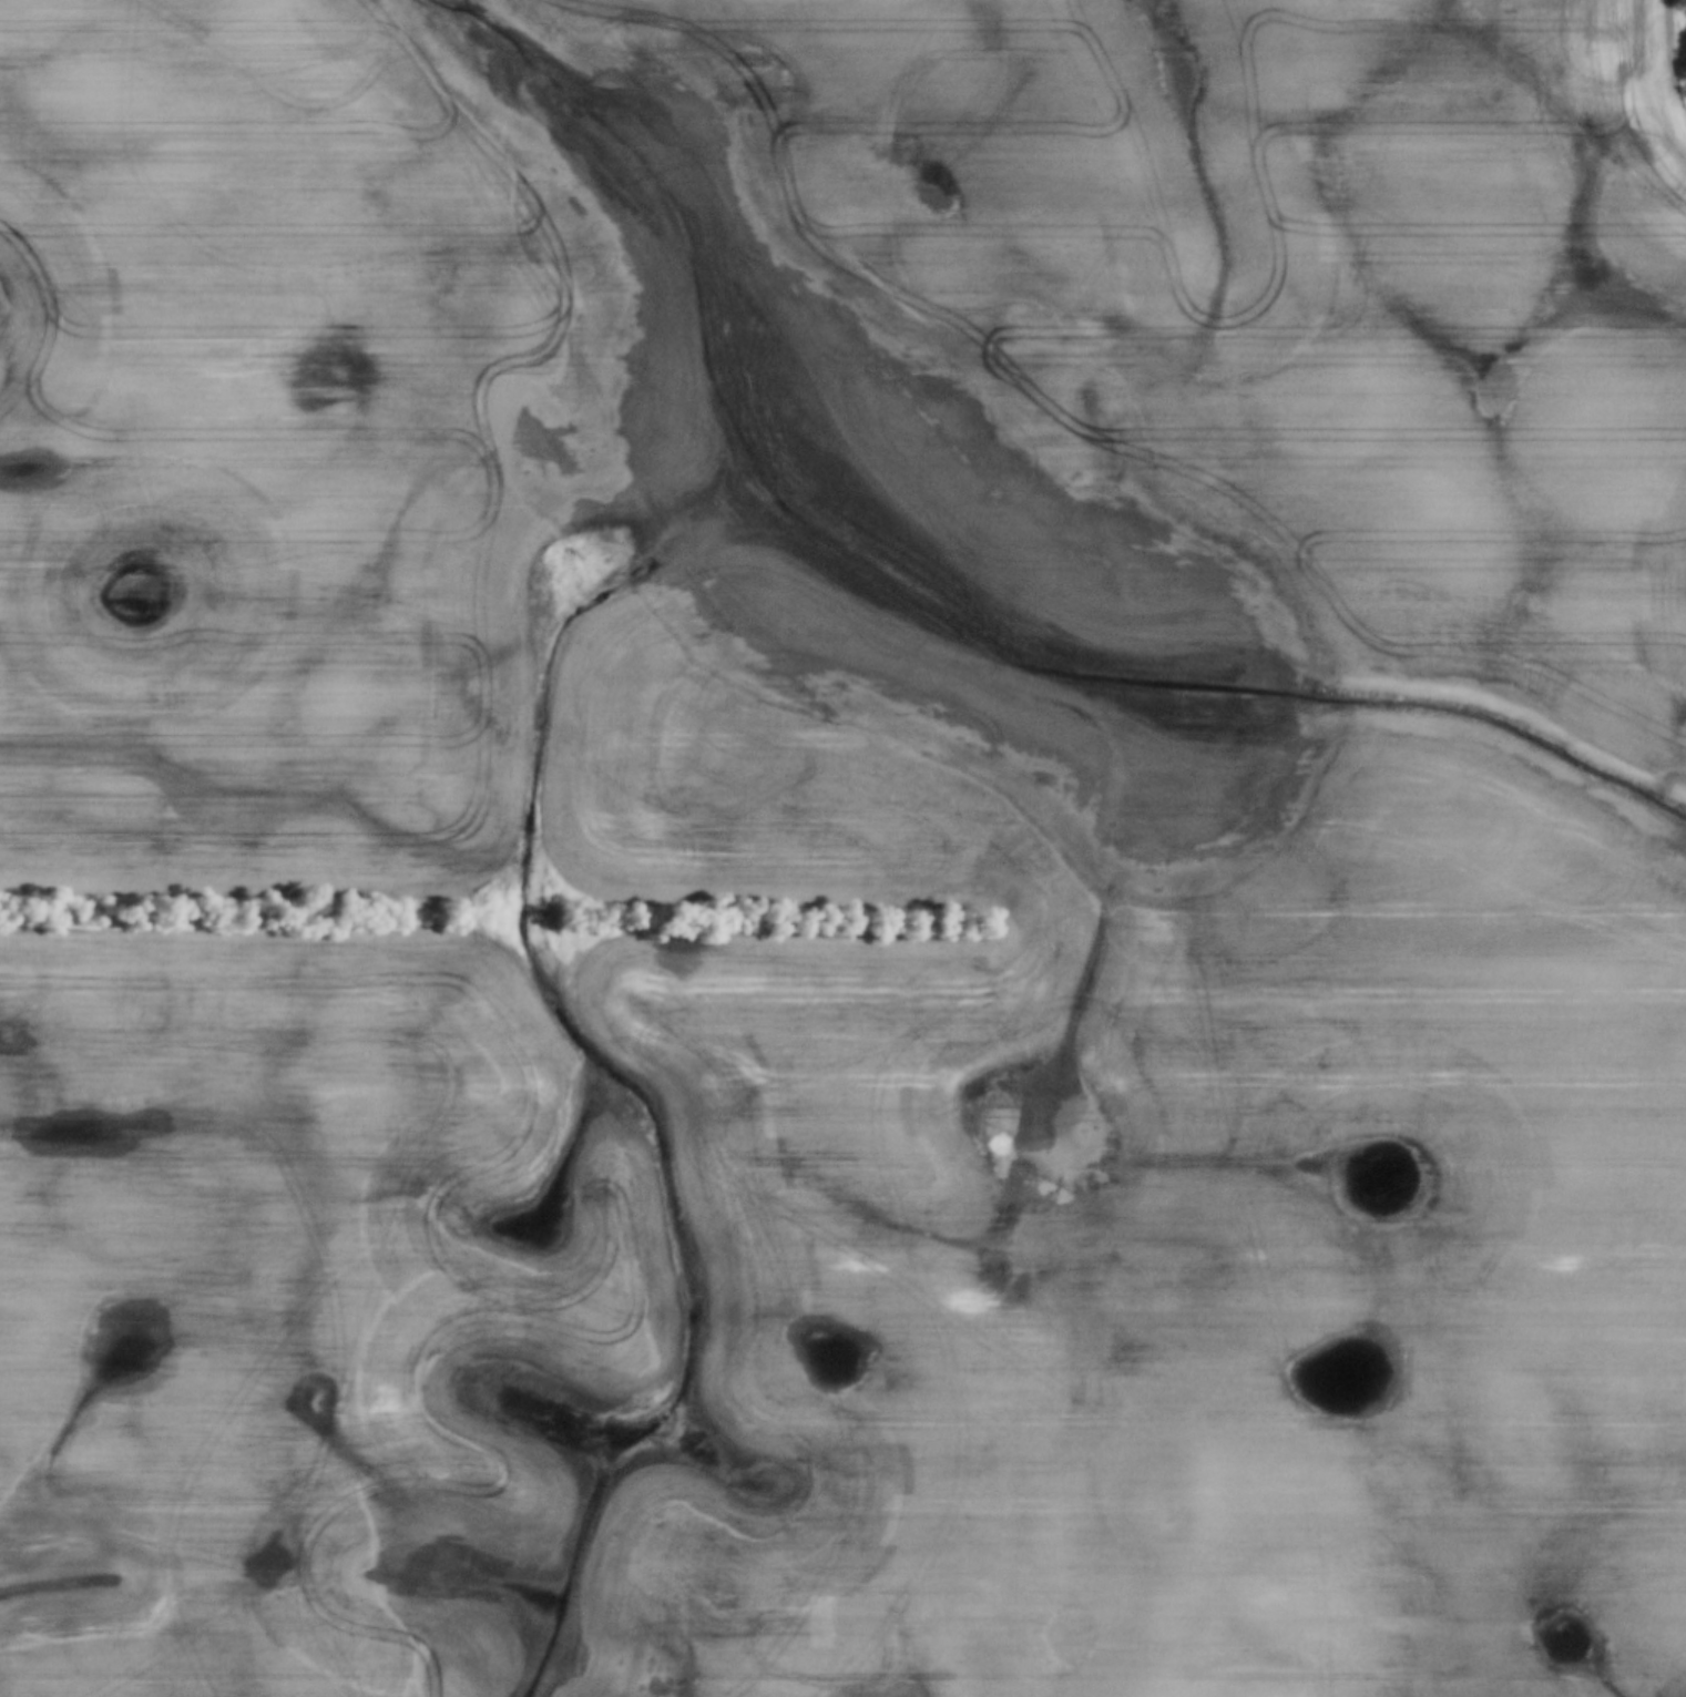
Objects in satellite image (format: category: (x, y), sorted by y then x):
road: (1667, 50)

